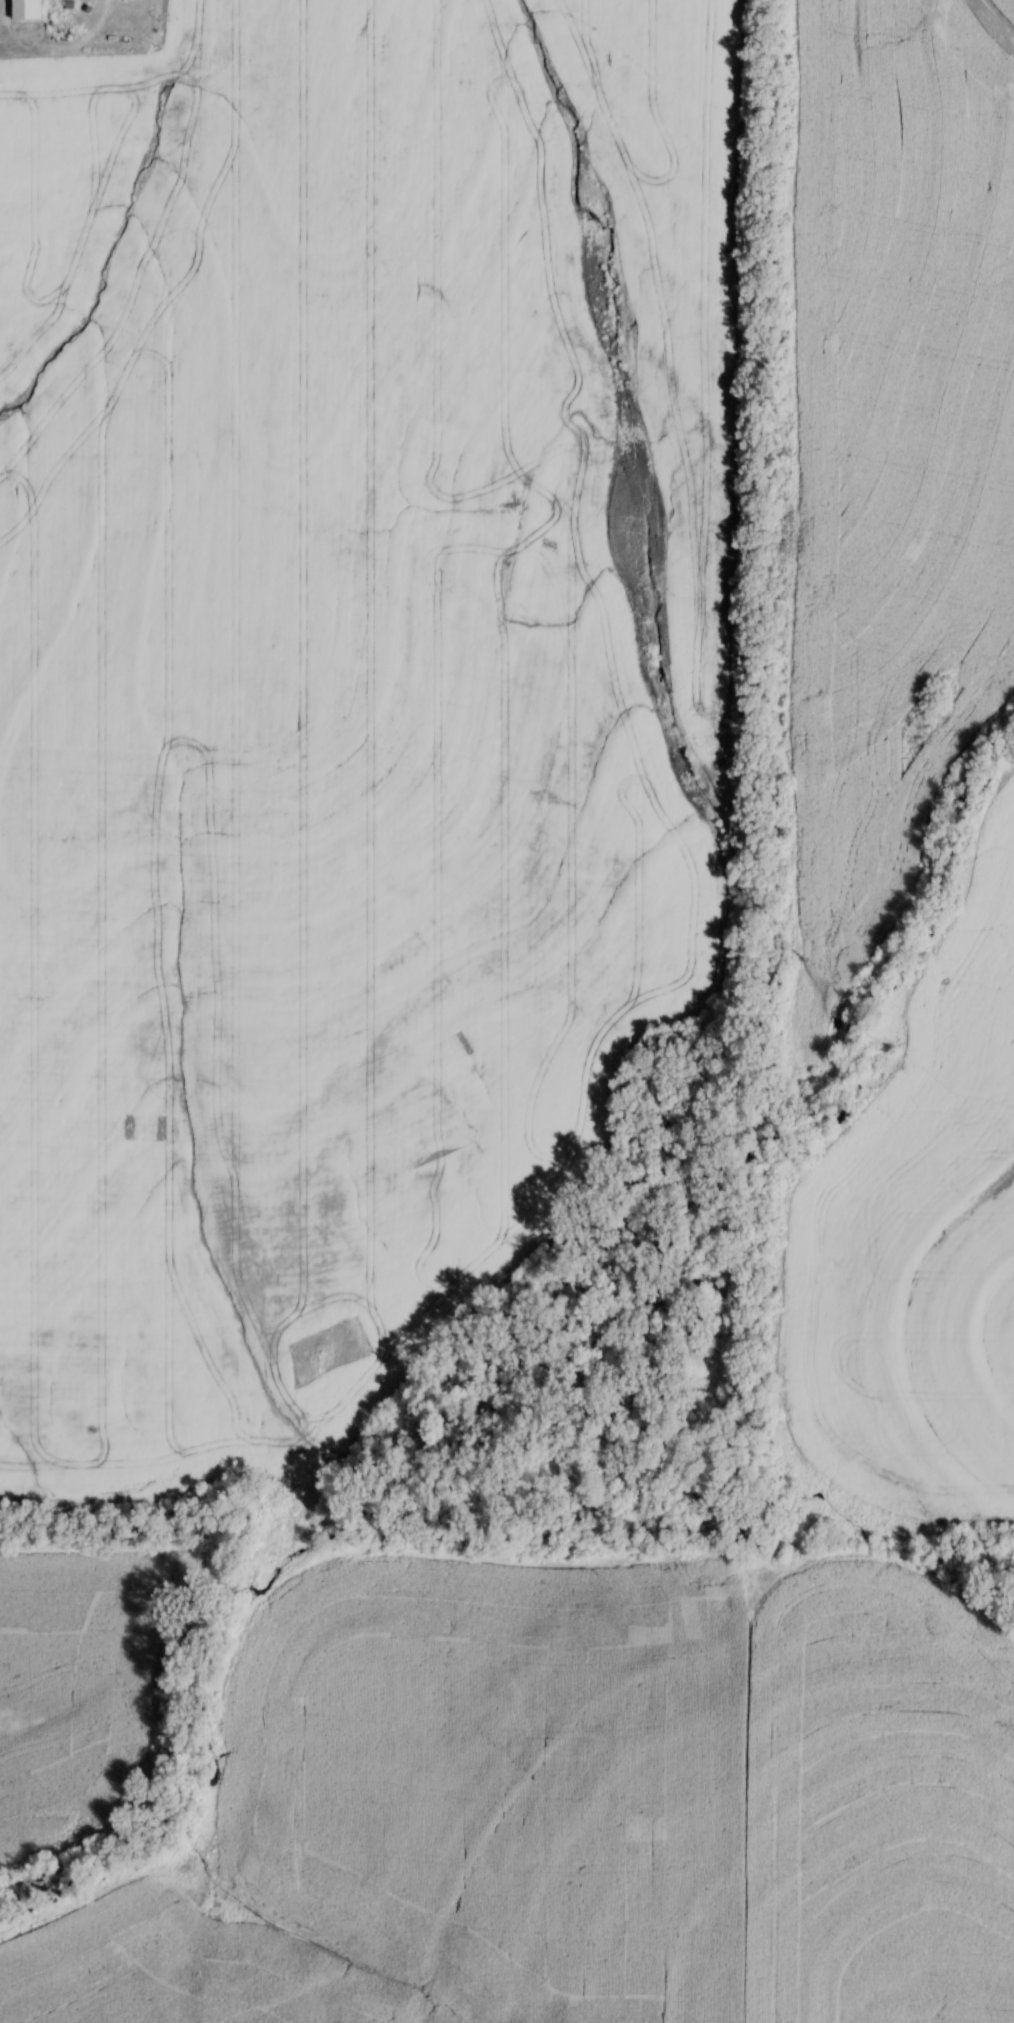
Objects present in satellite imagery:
building: (24, 9)

